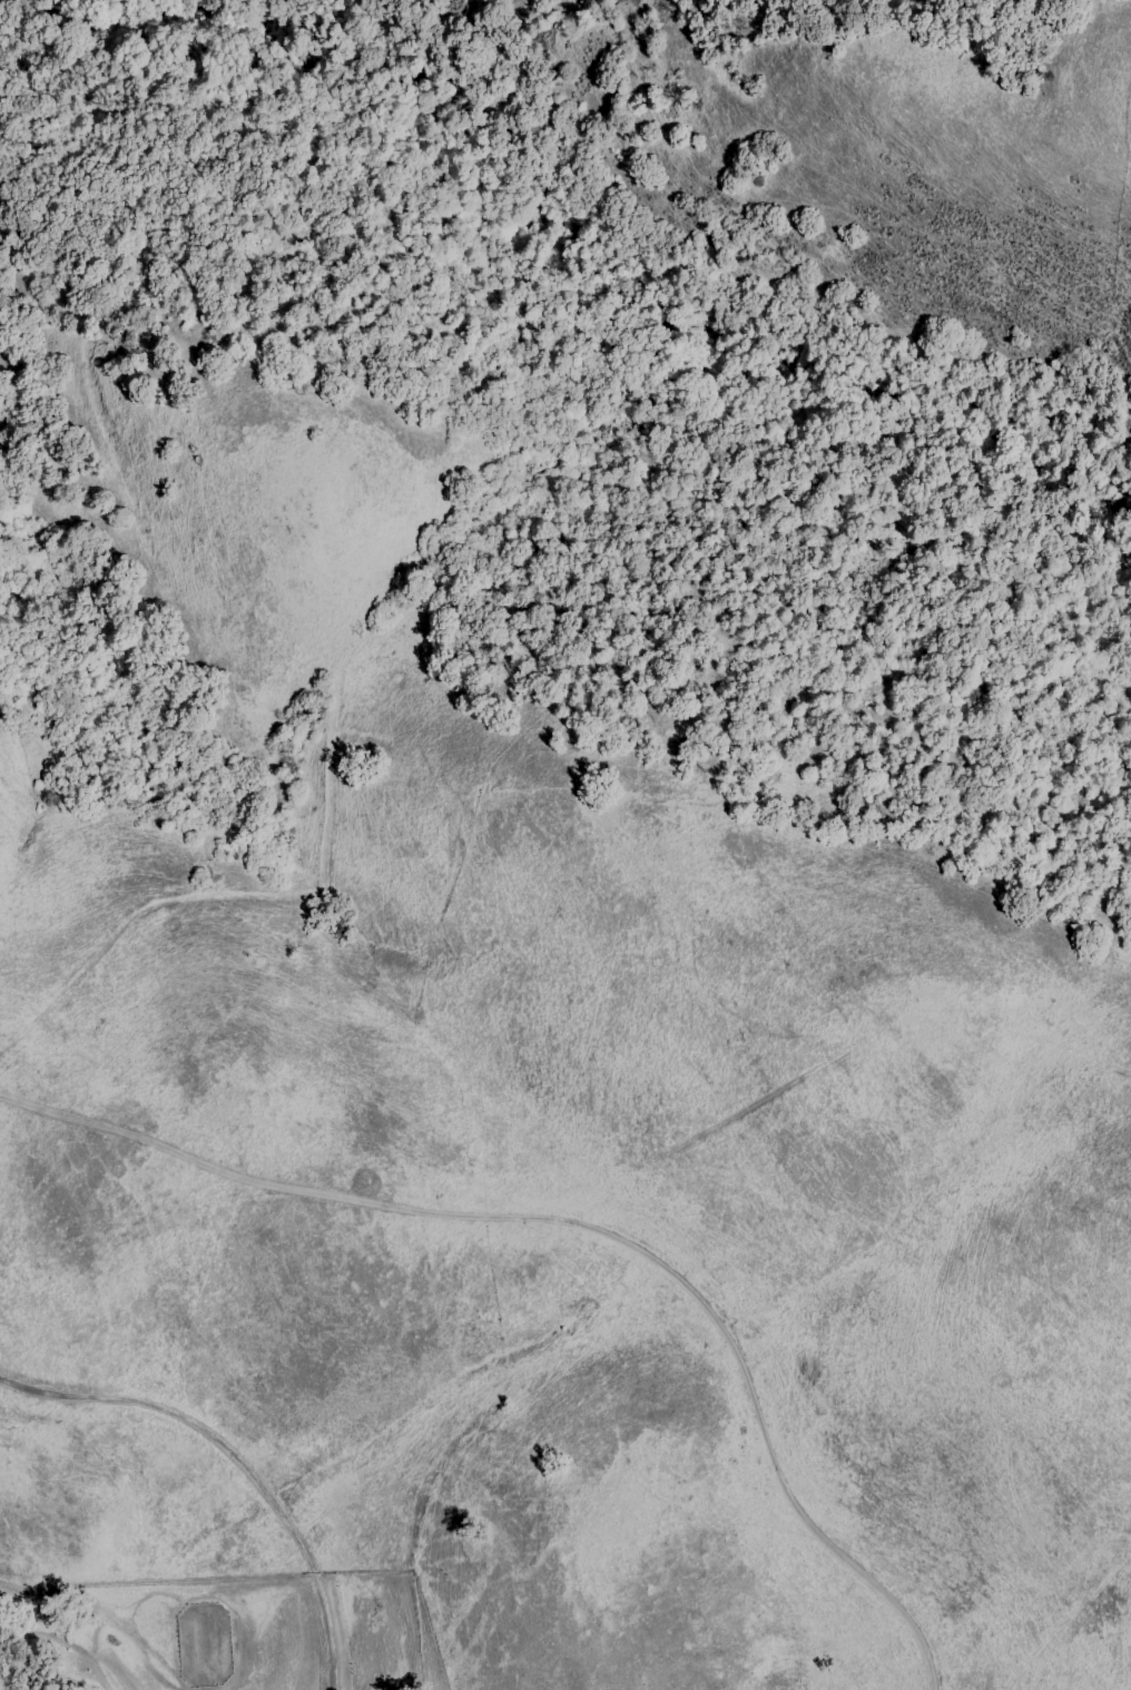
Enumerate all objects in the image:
road: (583, 1227)
road: (236, 1458)

